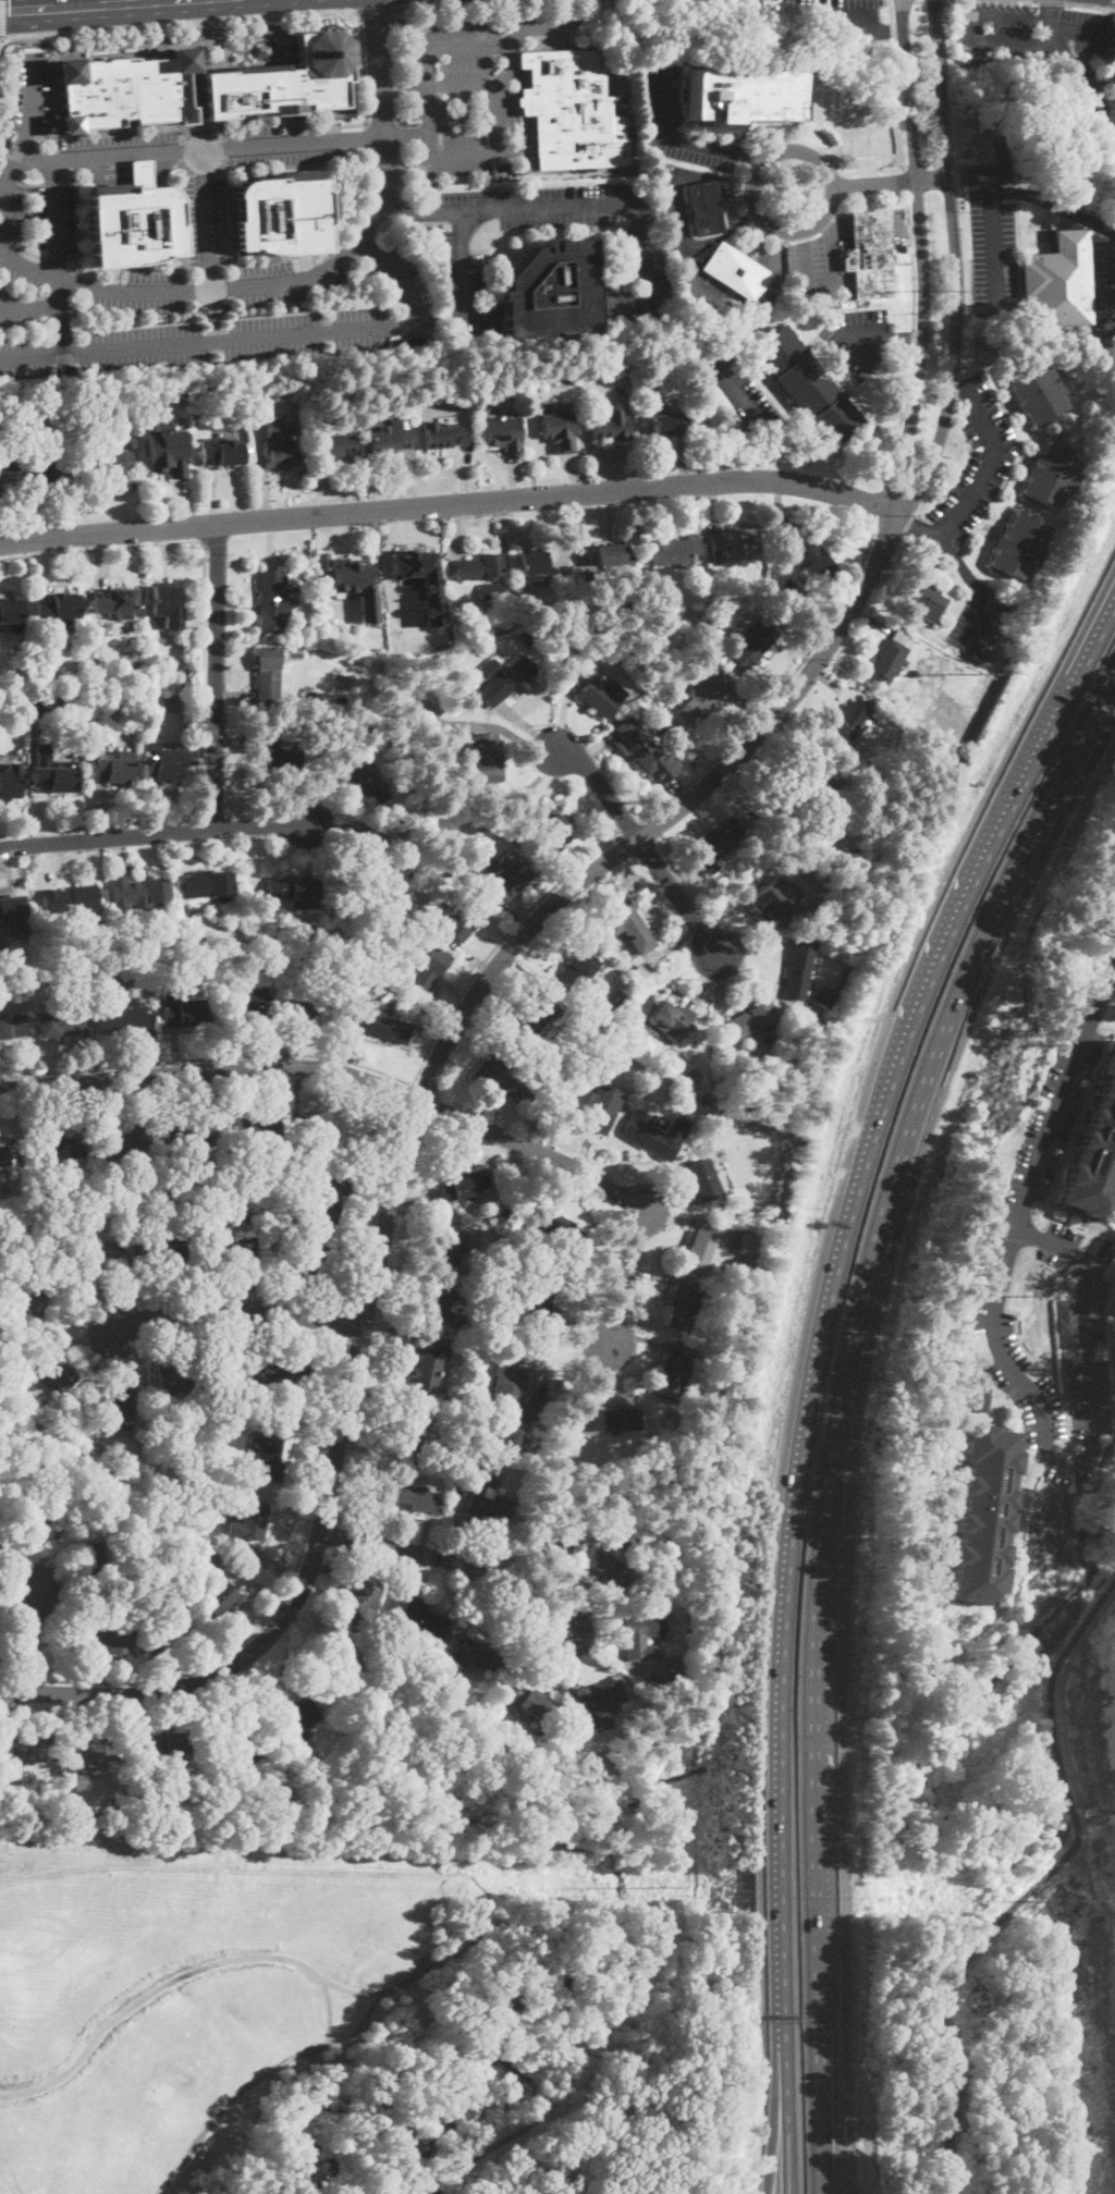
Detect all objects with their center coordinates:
road: (1047, 1)
road: (83, 5)
road: (1087, 5)
road: (375, 13)
road: (1044, 13)
road: (392, 14)
road: (258, 17)
road: (0, 19)
road: (1010, 20)
road: (1078, 30)
road: (0, 40)
road: (470, 46)
road: (1001, 47)
parking lot: (1044, 54)
building: (282, 78)
road: (461, 87)
building: (124, 89)
road: (379, 90)
road: (1074, 91)
building: (740, 96)
building: (572, 110)
building: (1112, 110)
road: (425, 112)
road: (528, 118)
parking lot: (676, 118)
road: (857, 122)
road: (397, 134)
road: (367, 138)
road: (679, 142)
road: (20, 150)
road: (199, 151)
road: (463, 155)
building: (523, 169)
road: (403, 173)
road: (677, 173)
road: (968, 176)
road: (891, 181)
road: (751, 183)
road: (367, 203)
road: (580, 207)
building: (704, 207)
building: (280, 216)
road: (990, 220)
road: (208, 221)
parking lot: (991, 221)
road: (54, 222)
building: (130, 225)
parking lot: (284, 225)
road: (1100, 228)
road: (8, 243)
road: (30, 254)
road: (831, 254)
building: (870, 255)
road: (921, 257)
road: (804, 260)
road: (458, 263)
road: (954, 263)
road: (56, 265)
road: (87, 269)
building: (736, 271)
building: (1057, 281)
road: (216, 291)
building: (553, 291)
power tower: (951, 292)
parking lot: (1103, 294)
road: (30, 307)
road: (61, 315)
road: (258, 335)
road: (886, 336)
building: (1079, 338)
parking lot: (856, 339)
building: (806, 385)
building: (1034, 392)
parking lot: (740, 396)
building: (392, 404)
road: (743, 415)
building: (611, 425)
building: (669, 425)
building: (560, 427)
building: (275, 429)
building: (503, 432)
building: (443, 434)
building: (390, 439)
building: (334, 444)
building: (166, 448)
building: (222, 454)
building: (281, 455)
building: (111, 459)
road: (990, 461)
building: (8, 468)
building: (54, 471)
building: (1051, 475)
building: (0, 491)
road: (450, 504)
parking lot: (972, 519)
building: (735, 544)
building: (1019, 547)
building: (967, 550)
building: (669, 552)
building: (613, 554)
building: (812, 554)
building: (532, 567)
building: (480, 568)
road: (966, 575)
building: (421, 579)
building: (591, 581)
building: (354, 583)
building: (492, 590)
road: (1111, 599)
building: (722, 600)
building: (921, 600)
building: (273, 601)
building: (114, 602)
building: (168, 606)
building: (59, 609)
building: (11, 613)
road: (830, 617)
building: (707, 623)
building: (560, 626)
building: (528, 640)
building: (761, 640)
building: (626, 654)
building: (890, 662)
building: (272, 673)
building: (97, 674)
road: (216, 676)
road: (203, 677)
building: (503, 681)
building: (52, 683)
building: (674, 683)
building: (599, 694)
building: (310, 696)
building: (706, 697)
building: (298, 698)
power tower: (994, 706)
building: (41, 709)
building: (427, 710)
building: (650, 721)
building: (848, 722)
building: (333, 723)
building: (370, 727)
building: (357, 732)
building: (640, 746)
building: (272, 756)
building: (483, 756)
building: (166, 764)
building: (112, 771)
building: (54, 779)
building: (798, 781)
building: (365, 782)
building: (9, 785)
building: (550, 822)
road: (151, 833)
road: (642, 844)
building: (719, 844)
building: (365, 854)
building: (450, 871)
building: (510, 877)
building: (210, 885)
building: (140, 891)
building: (294, 892)
building: (773, 897)
building: (72, 899)
building: (11, 907)
building: (367, 909)
building: (463, 921)
building: (627, 926)
building: (159, 941)
building: (148, 949)
building: (365, 957)
building: (154, 963)
building: (199, 966)
building: (389, 968)
building: (429, 970)
building: (798, 970)
building: (578, 971)
building: (637, 975)
building: (1, 982)
building: (36, 984)
building: (231, 984)
building: (823, 996)
building: (613, 997)
building: (253, 1004)
building: (188, 1012)
building: (316, 1012)
building: (124, 1017)
building: (535, 1017)
building: (673, 1020)
building: (750, 1020)
building: (61, 1024)
building: (596, 1024)
building: (381, 1025)
building: (12, 1026)
building: (611, 1029)
power tower: (1016, 1032)
building: (770, 1042)
building: (690, 1050)
building: (673, 1053)
building: (608, 1055)
road: (208, 1057)
building: (502, 1079)
road: (402, 1094)
road: (407, 1095)
road: (1059, 1099)
building: (597, 1107)
building: (341, 1128)
building: (257, 1129)
building: (193, 1131)
building: (647, 1135)
road: (407, 1136)
building: (126, 1141)
building: (57, 1150)
building: (1093, 1152)
building: (4, 1155)
building: (281, 1155)
building: (208, 1167)
building: (201, 1180)
building: (463, 1185)
building: (703, 1185)
building: (261, 1191)
building: (232, 1204)
building: (323, 1206)
building: (162, 1209)
building: (180, 1210)
building: (503, 1213)
building: (550, 1227)
building: (749, 1242)
building: (450, 1250)
building: (163, 1252)
building: (700, 1252)
building: (229, 1254)
building: (103, 1259)
building: (308, 1263)
building: (490, 1280)
road: (829, 1289)
power tower: (1034, 1300)
building: (543, 1302)
building: (30, 1303)
building: (443, 1308)
building: (681, 1309)
road: (234, 1310)
building: (1066, 1325)
building: (704, 1360)
building: (57, 1370)
building: (279, 1370)
building: (430, 1375)
building: (673, 1377)
building: (1068, 1378)
building: (182, 1380)
building: (515, 1393)
building: (114, 1398)
building: (983, 1399)
road: (845, 1413)
building: (465, 1415)
building: (616, 1420)
building: (409, 1435)
building: (466, 1451)
building: (269, 1453)
building: (518, 1455)
building: (204, 1461)
road: (1078, 1463)
building: (564, 1464)
building: (216, 1490)
building: (411, 1498)
building: (604, 1498)
building: (488, 1499)
road: (313, 1505)
building: (34, 1516)
building: (978, 1520)
building: (250, 1521)
building: (548, 1544)
building: (90, 1557)
road: (453, 1560)
building: (605, 1567)
building: (217, 1596)
building: (360, 1598)
building: (422, 1618)
building: (166, 1635)
building: (636, 1637)
road: (32, 1638)
building: (101, 1640)
park: (1029, 1655)
building: (481, 1657)
building: (371, 1660)
building: (672, 1668)
building: (366, 1674)
building: (448, 1696)
building: (526, 1699)
building: (598, 1702)
building: (297, 1716)
building: (670, 1728)
building: (549, 1738)
building: (662, 1739)
building: (233, 1746)
building: (159, 1748)
building: (25, 1749)
building: (93, 1749)
building: (461, 1758)
building: (616, 1776)
building: (196, 1790)
building: (142, 1801)
building: (49, 1803)
building: (113, 1805)
road: (1037, 1884)
power tower: (659, 1887)
power tower: (1081, 1903)
road: (402, 1983)
park: (980, 1987)
road: (329, 2009)
park: (352, 2009)
road: (258, 2076)
road: (775, 2116)
road: (787, 2116)
road: (943, 2186)

